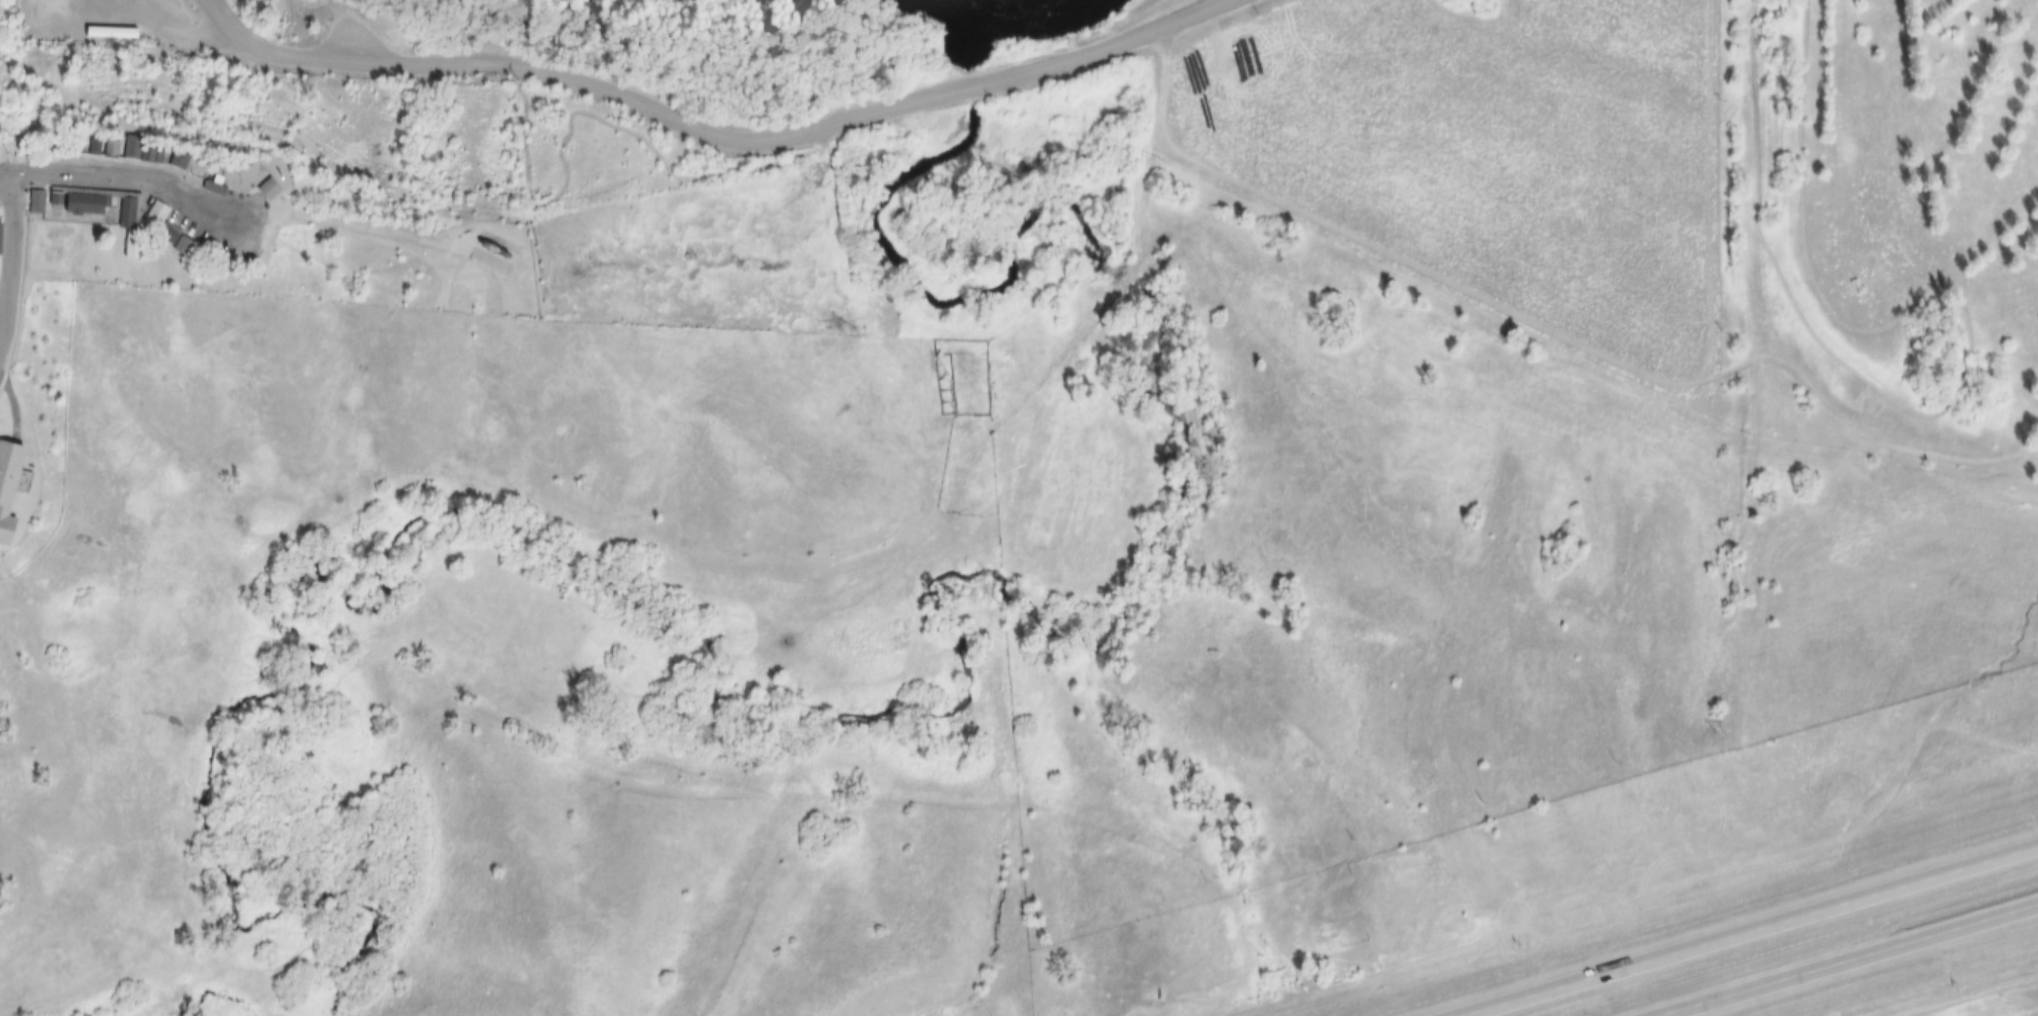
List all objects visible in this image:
river: (1007, 3)
road: (229, 28)
building: (0, 64)
road: (645, 106)
building: (79, 146)
building: (115, 147)
building: (94, 148)
building: (131, 154)
building: (145, 157)
building: (161, 160)
building: (205, 170)
road: (123, 183)
building: (198, 188)
building: (251, 189)
building: (75, 202)
building: (29, 203)
building: (115, 212)
building: (146, 214)
building: (1, 233)
road: (366, 233)
building: (159, 235)
road: (14, 264)
road: (1030, 401)
building: (39, 480)
building: (17, 494)
road: (1739, 931)
road: (1859, 966)

